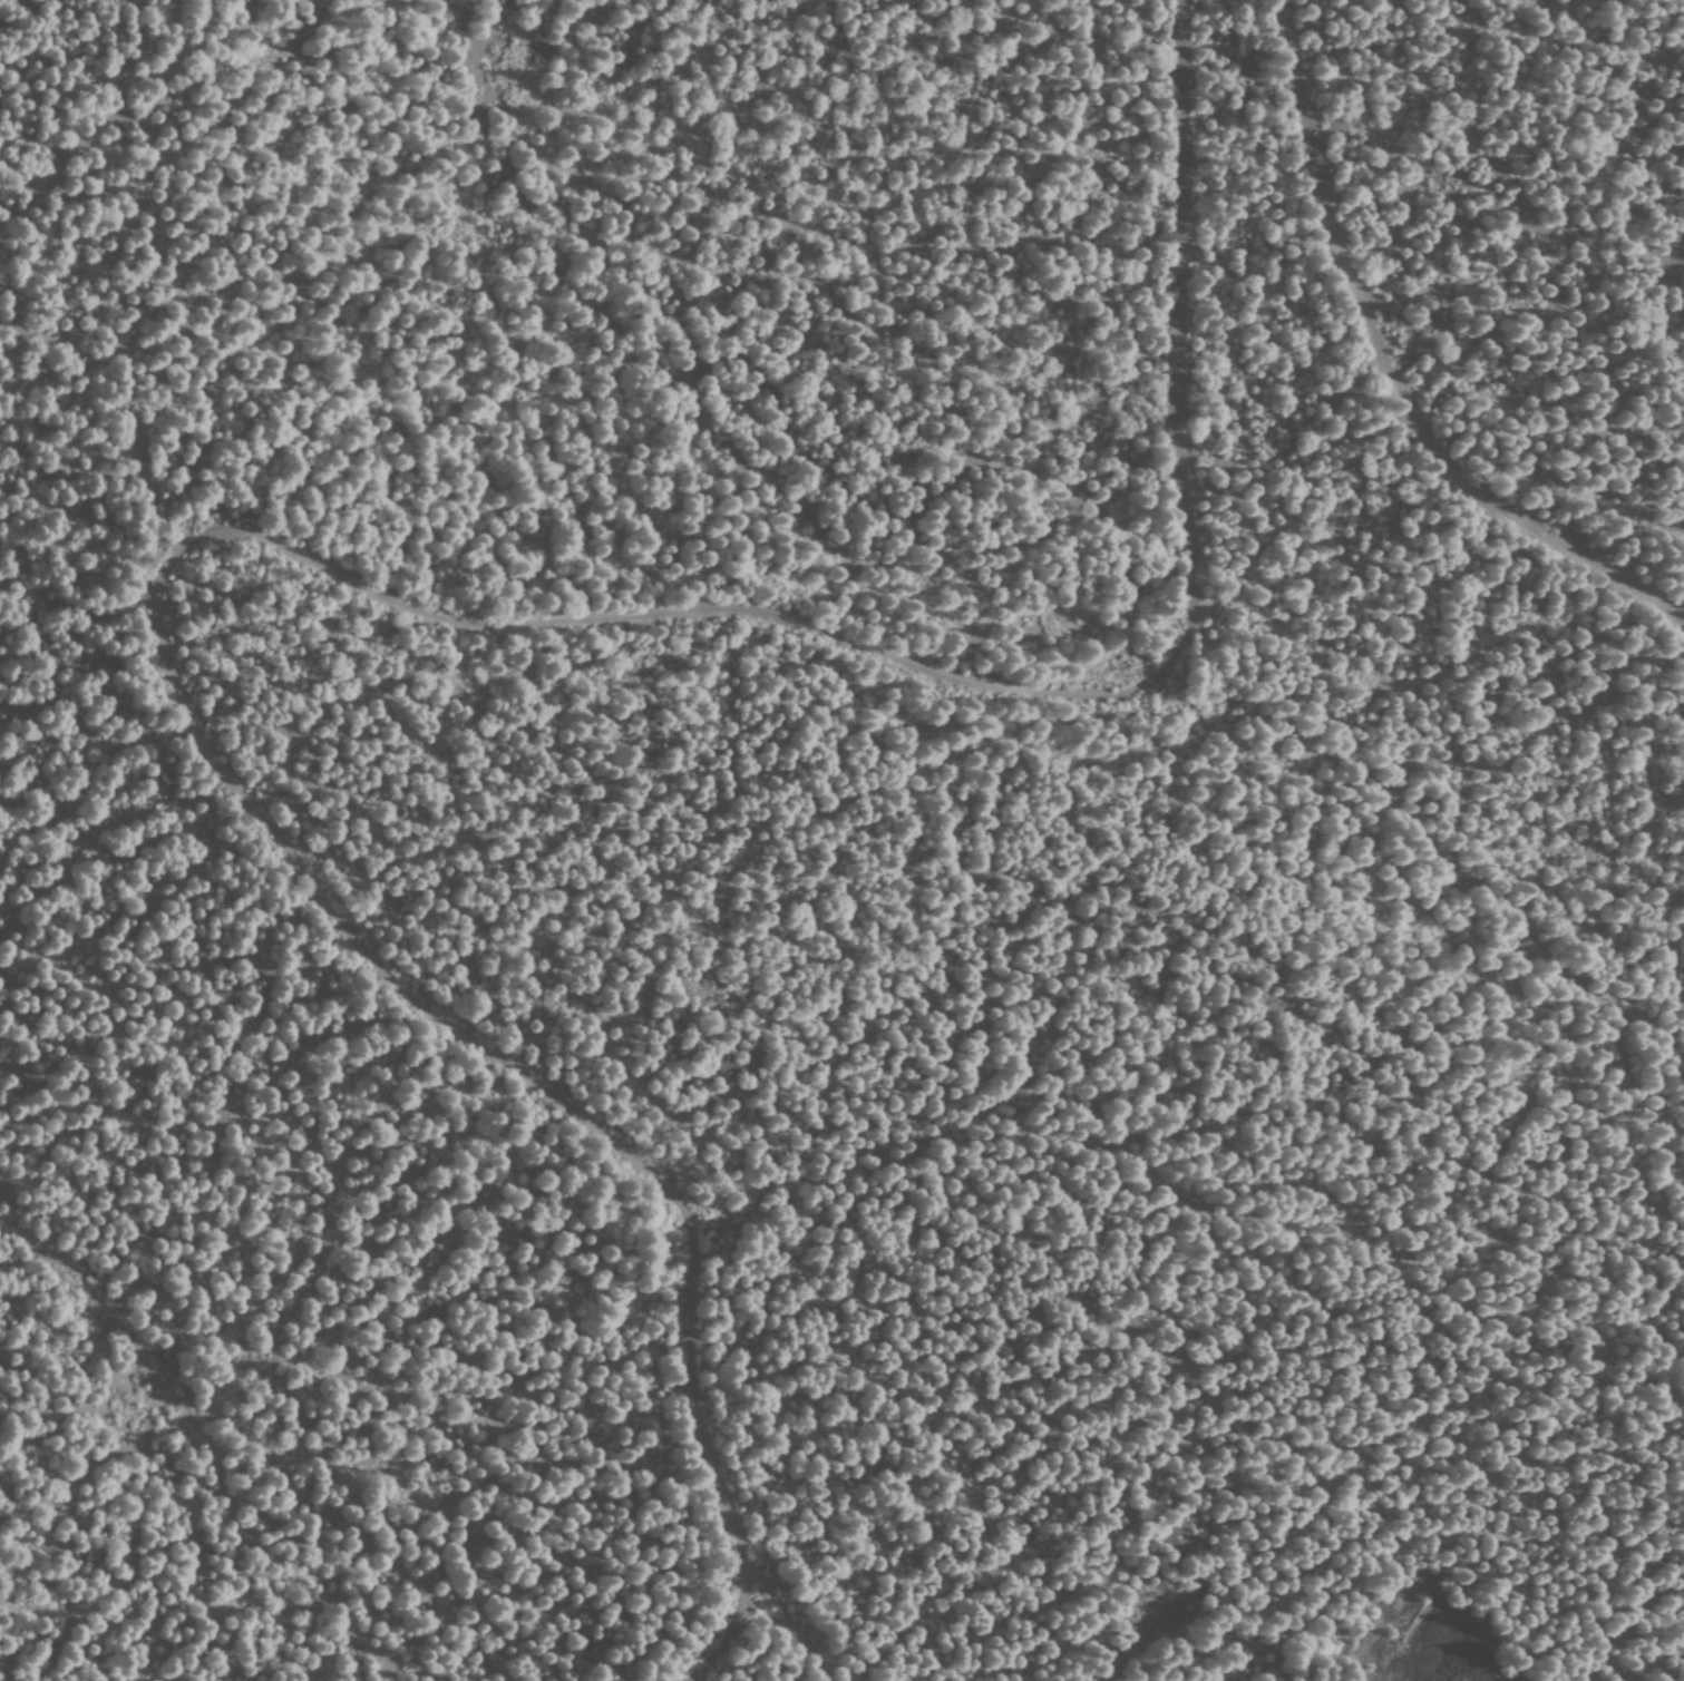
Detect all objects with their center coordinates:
road: (1392, 371)
road: (329, 573)
road: (143, 1417)

